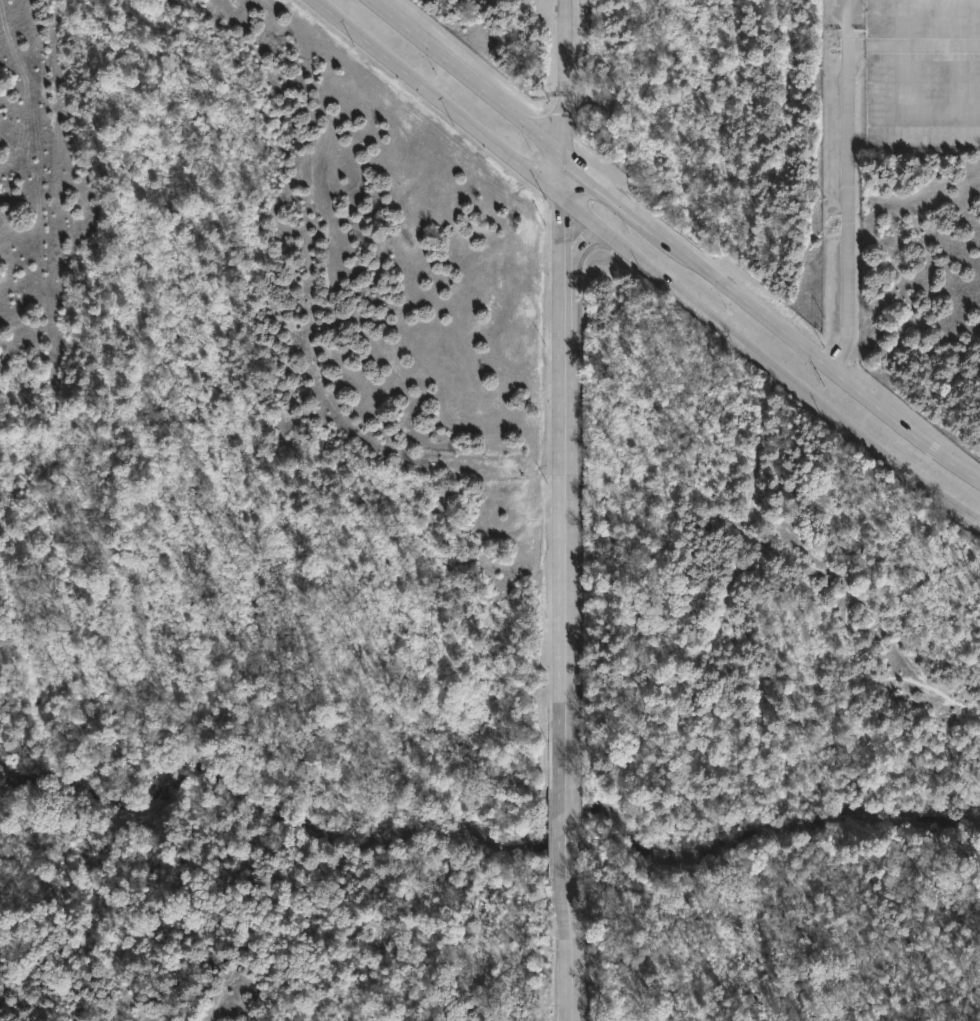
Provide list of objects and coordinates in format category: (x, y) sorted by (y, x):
road: (565, 48)
road: (464, 80)
road: (566, 129)
road: (567, 182)
road: (848, 186)
road: (610, 196)
road: (579, 248)
road: (644, 266)
road: (816, 358)
road: (416, 463)
road: (564, 489)
park: (768, 701)
road: (568, 810)
road: (571, 933)

